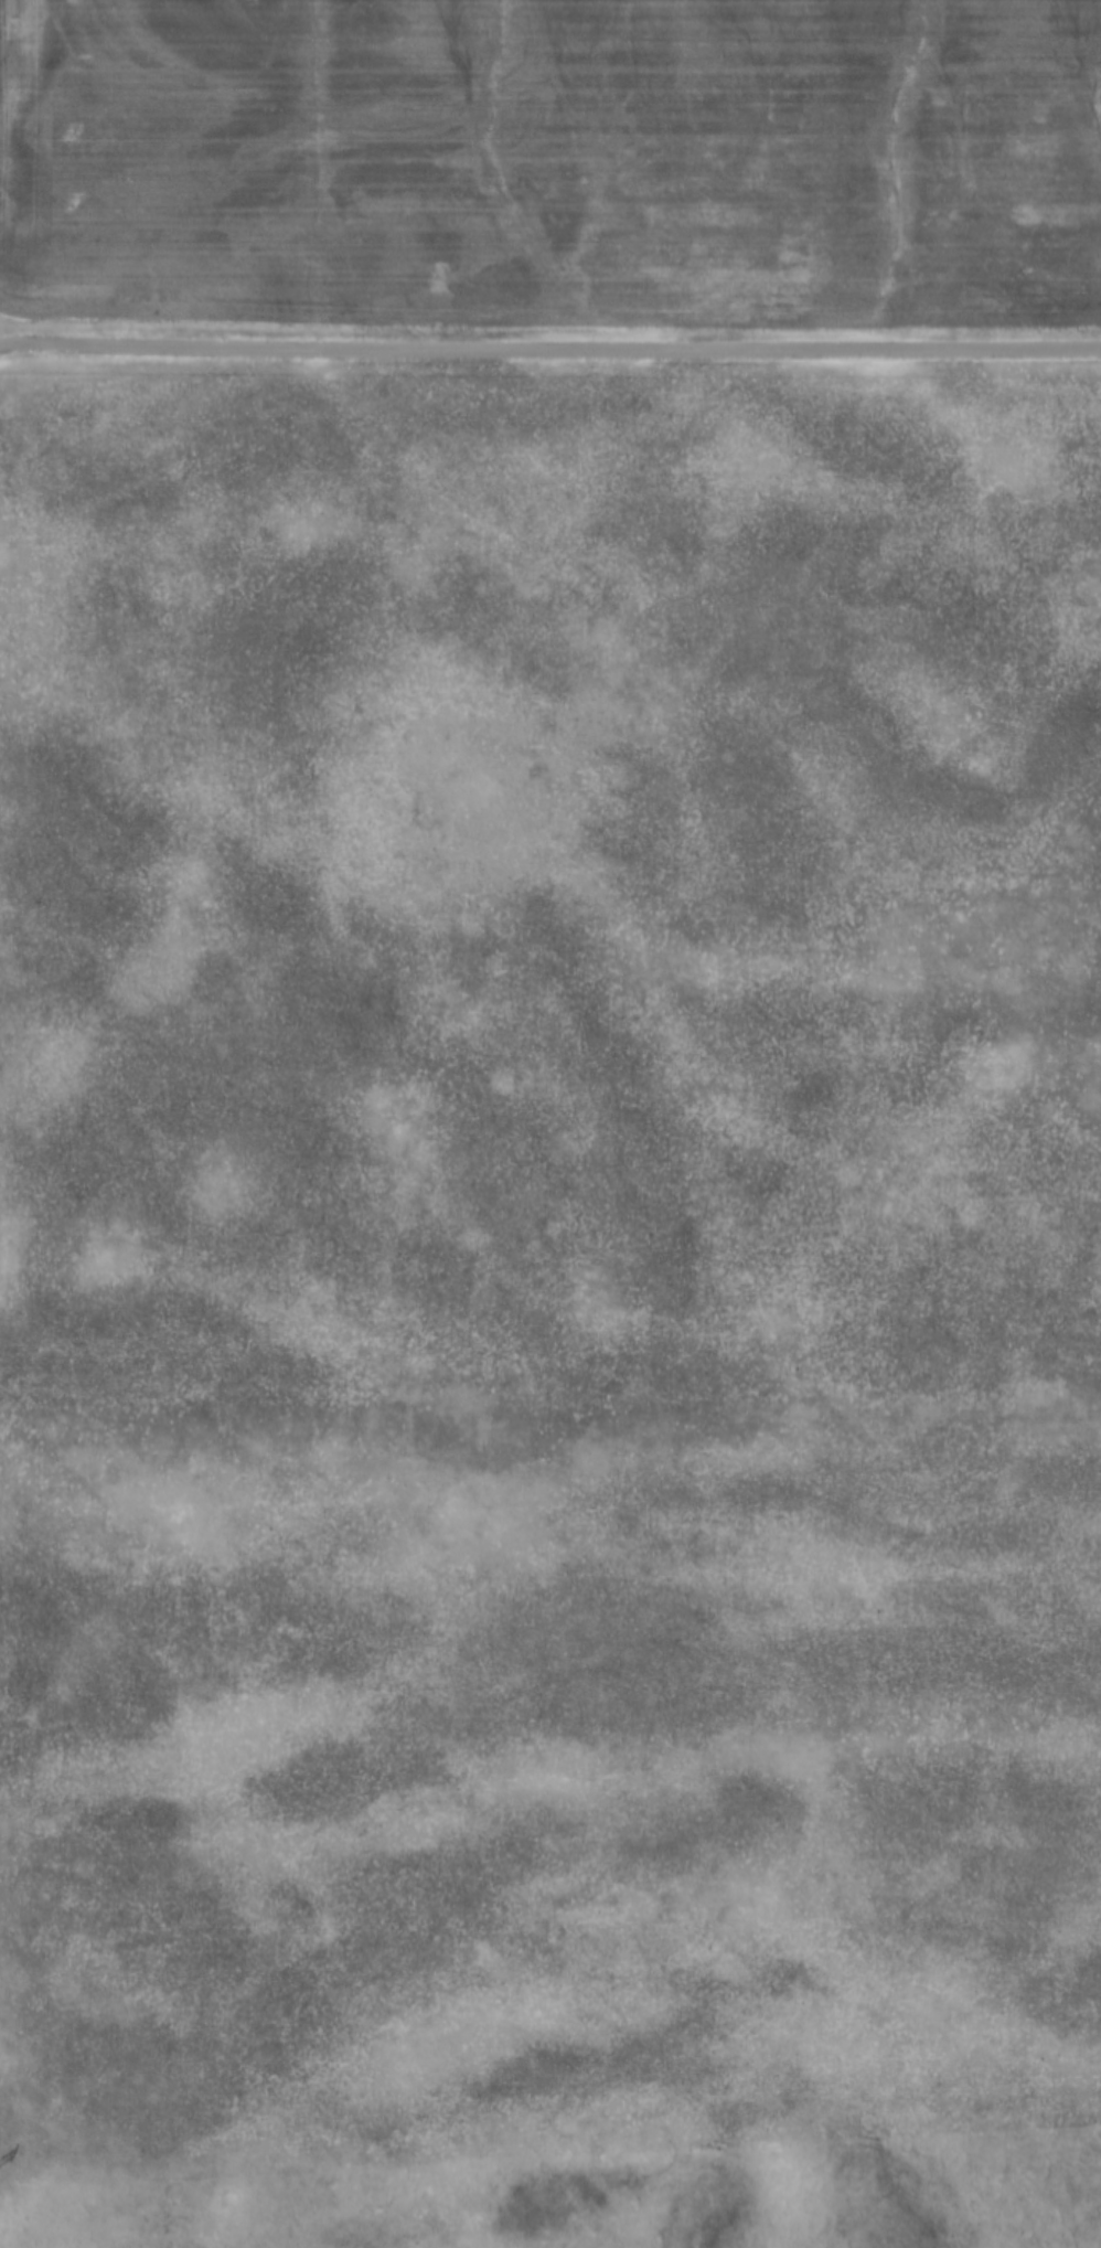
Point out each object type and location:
road: (549, 347)

